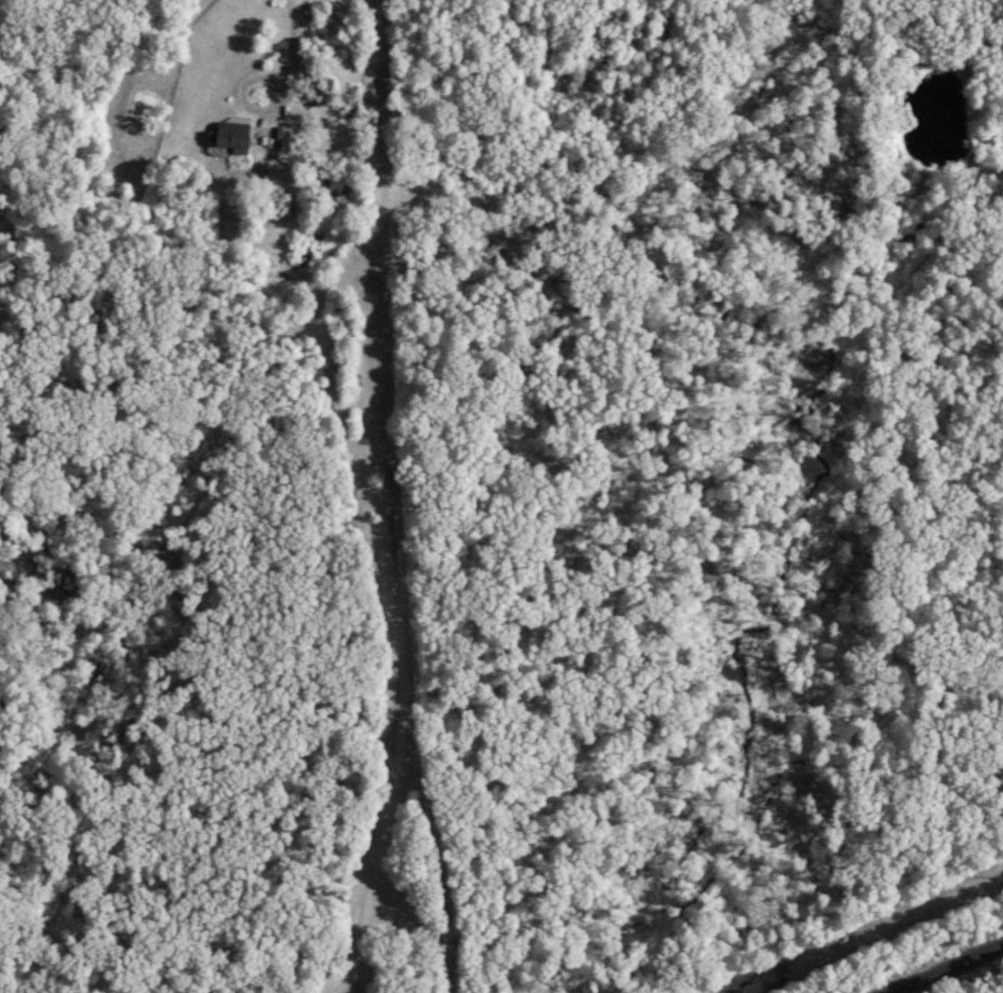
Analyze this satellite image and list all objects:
road: (293, 35)
road: (247, 105)
building: (230, 136)
road: (385, 232)
road: (397, 733)
railway: (947, 968)
road: (330, 991)

